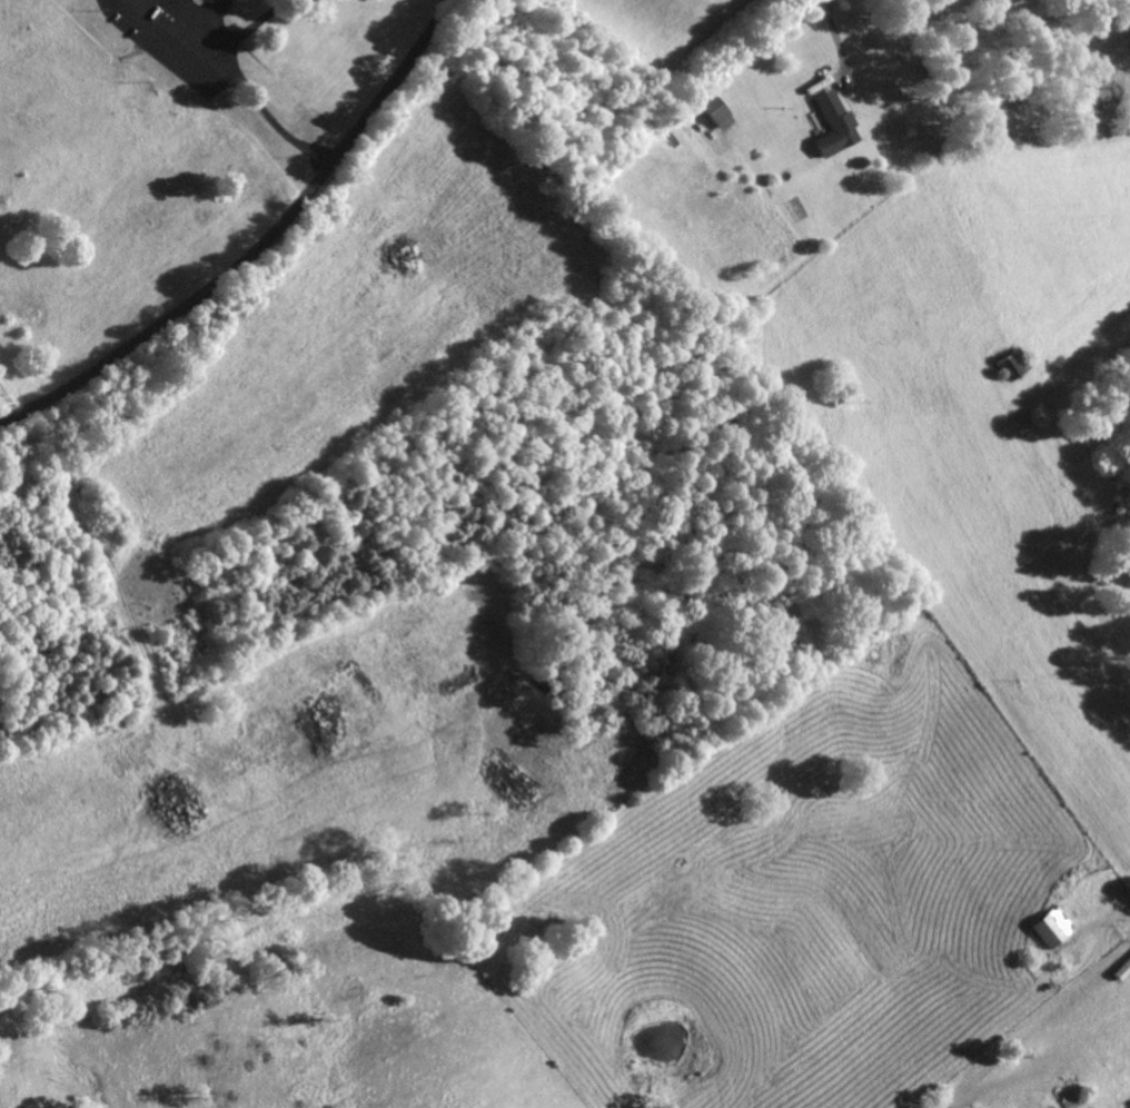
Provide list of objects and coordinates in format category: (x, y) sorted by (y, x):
building: (723, 110)
building: (832, 123)
road: (260, 247)
building: (1049, 926)

